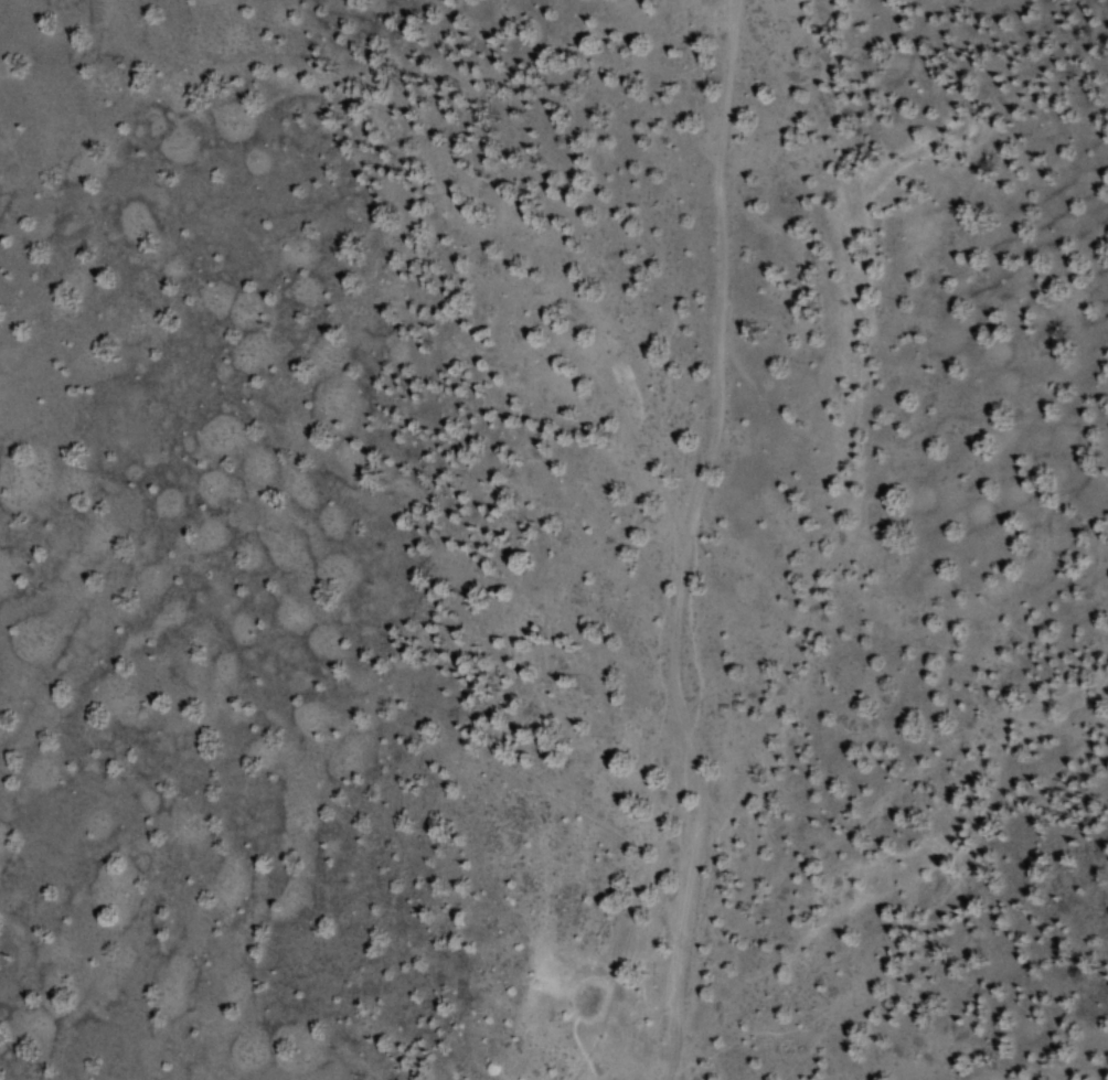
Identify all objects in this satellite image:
road: (690, 541)

